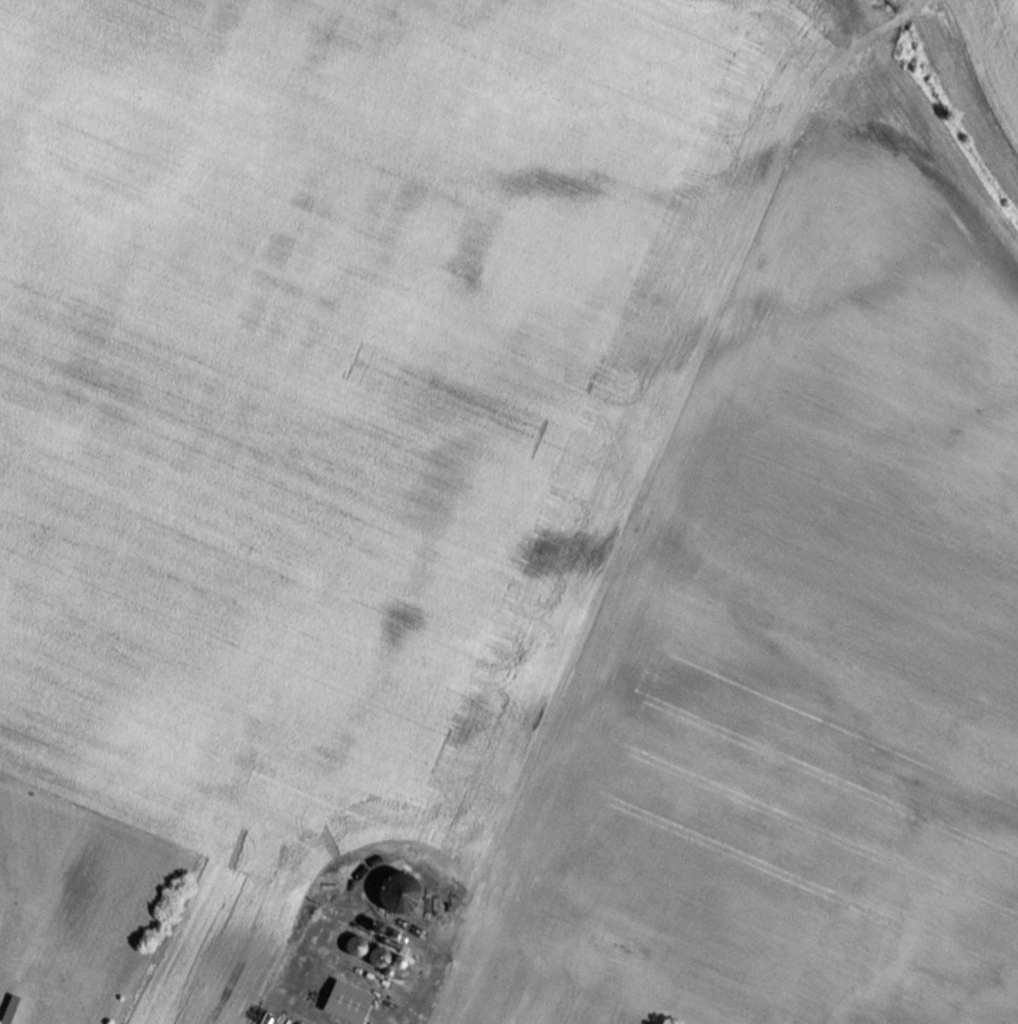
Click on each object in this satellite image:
crop: (1003, 24)
crop: (511, 508)

